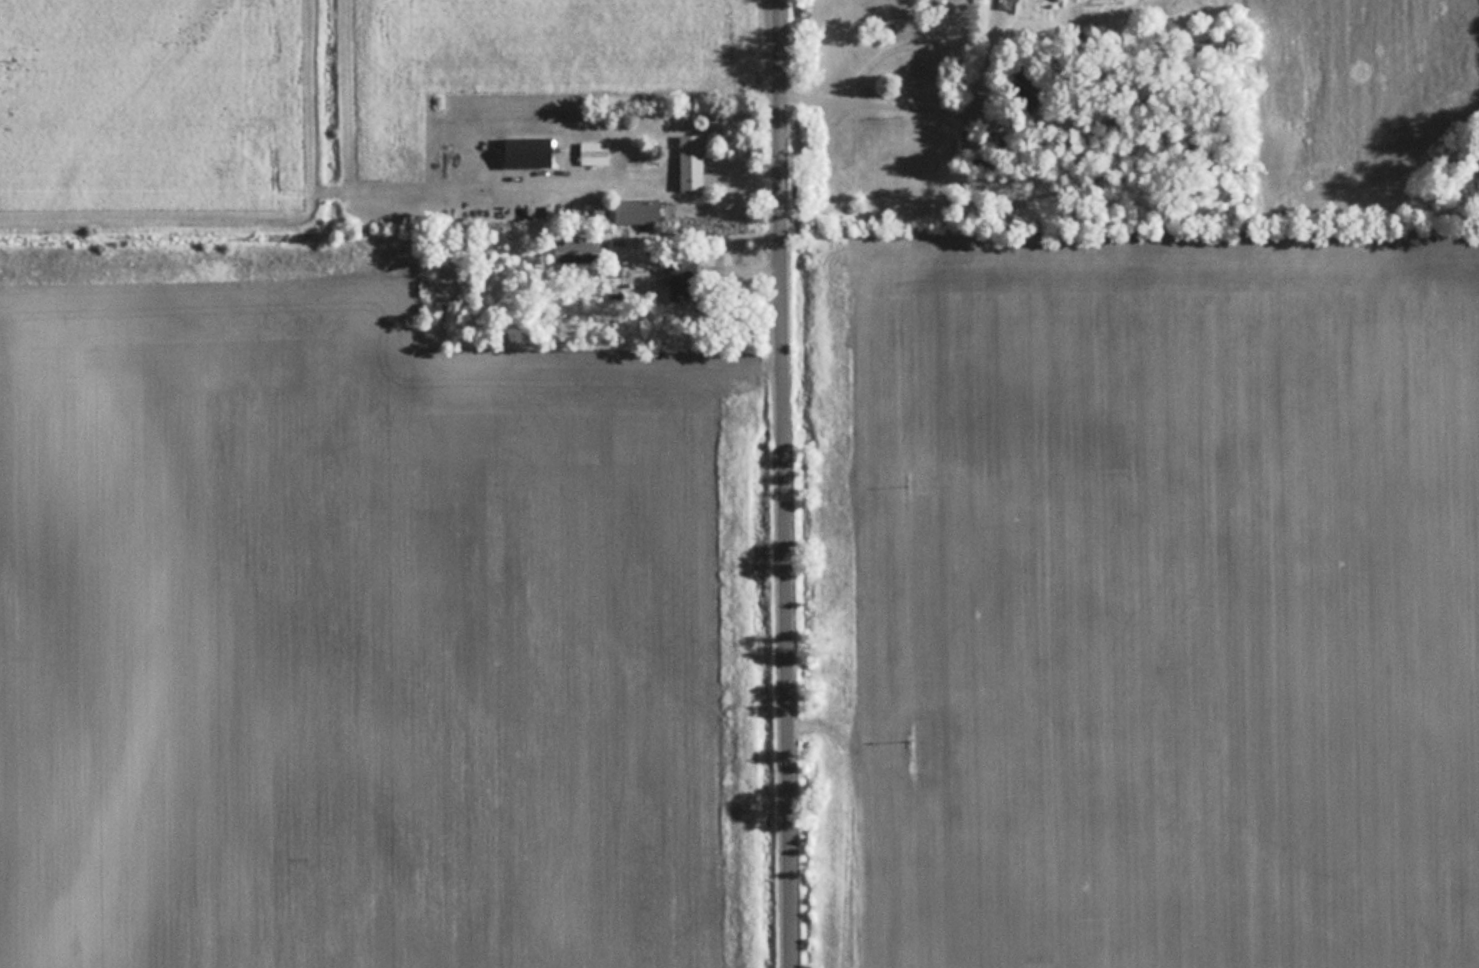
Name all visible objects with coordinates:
road: (873, 93)
building: (969, 146)
building: (529, 150)
building: (594, 151)
building: (691, 160)
building: (638, 210)
building: (679, 278)
road: (785, 484)

